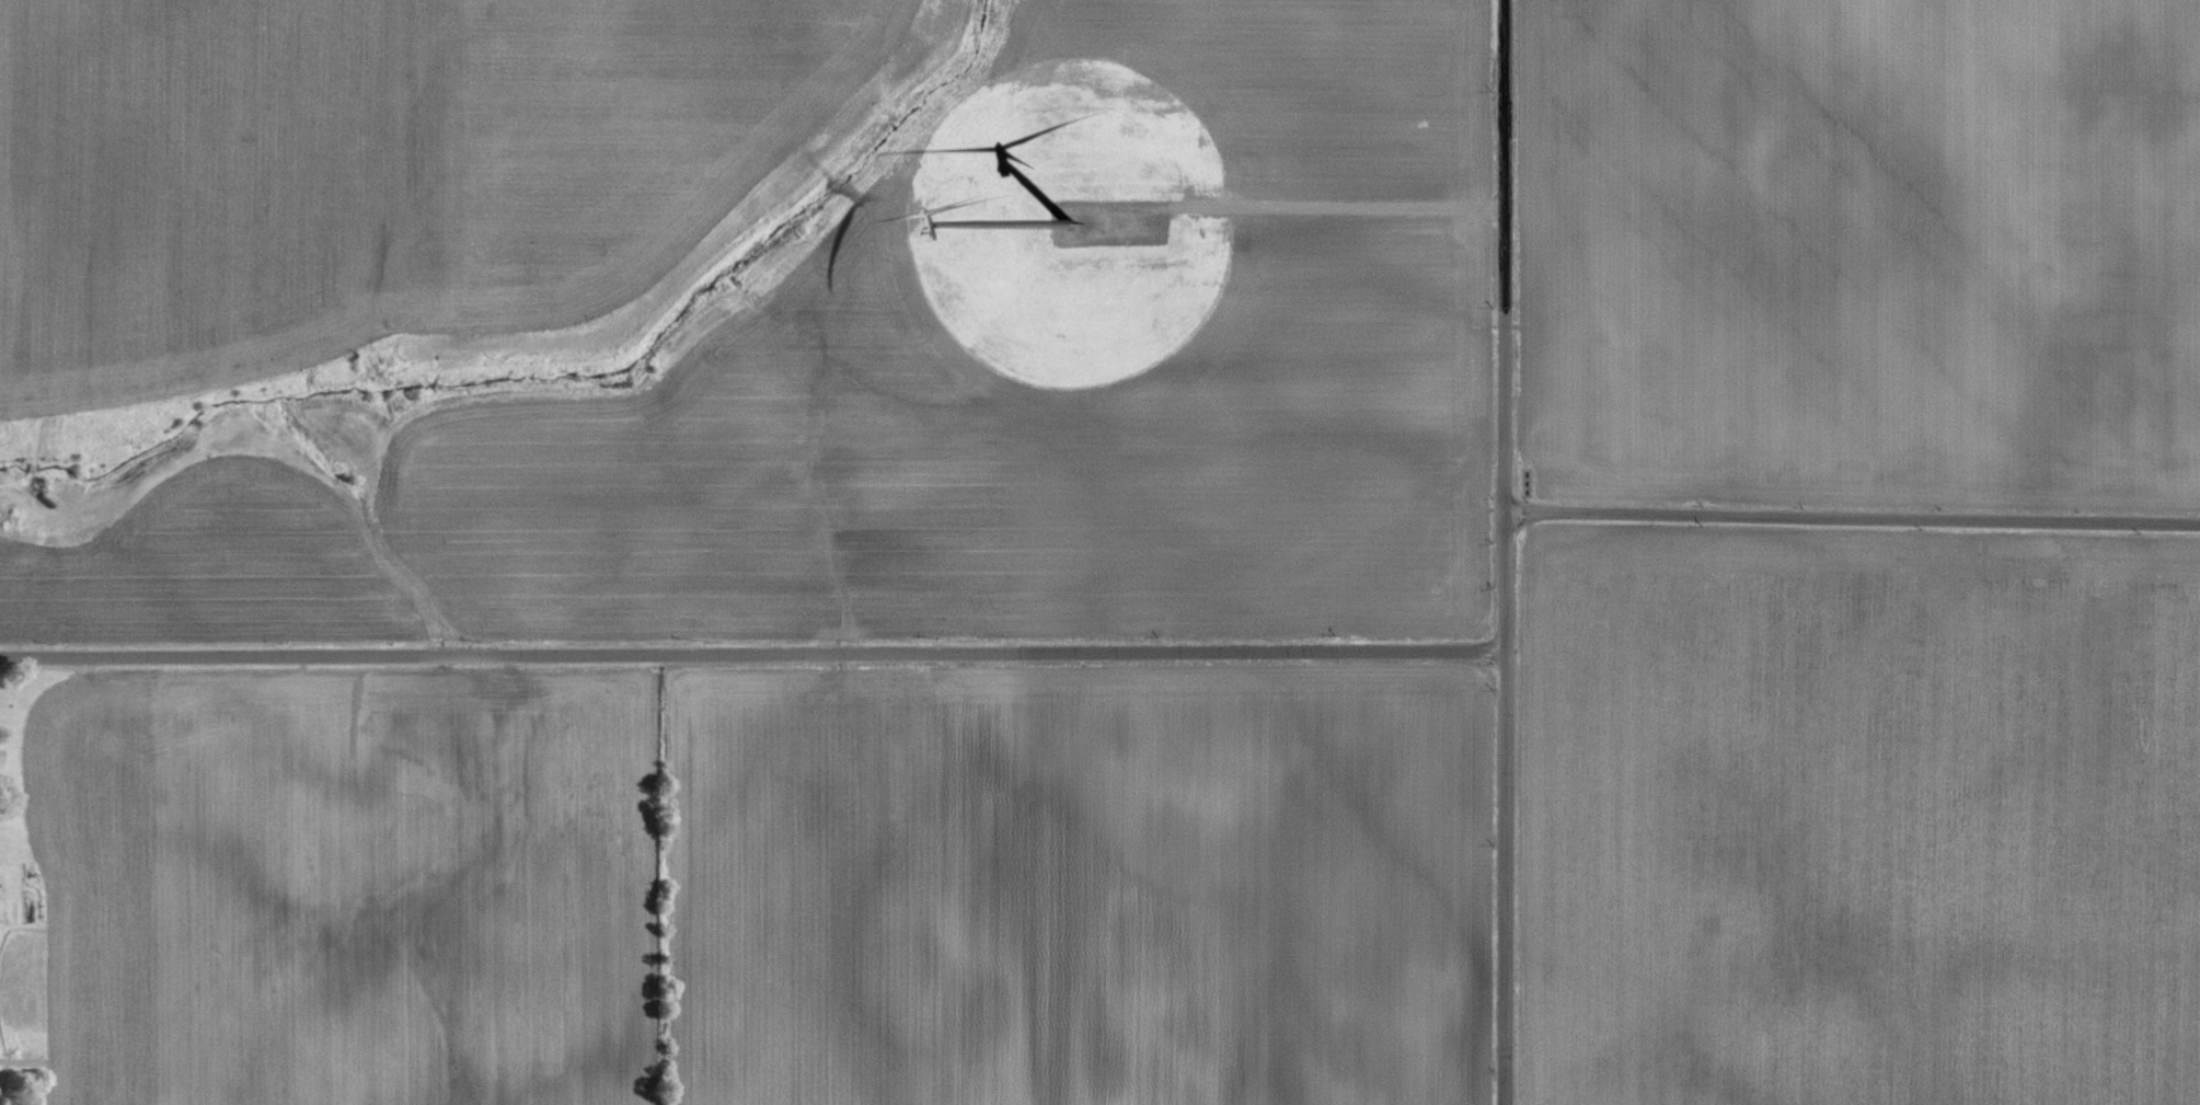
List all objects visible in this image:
wind turbine: (1071, 223)
road: (1851, 518)
road: (1501, 552)
road: (750, 655)

